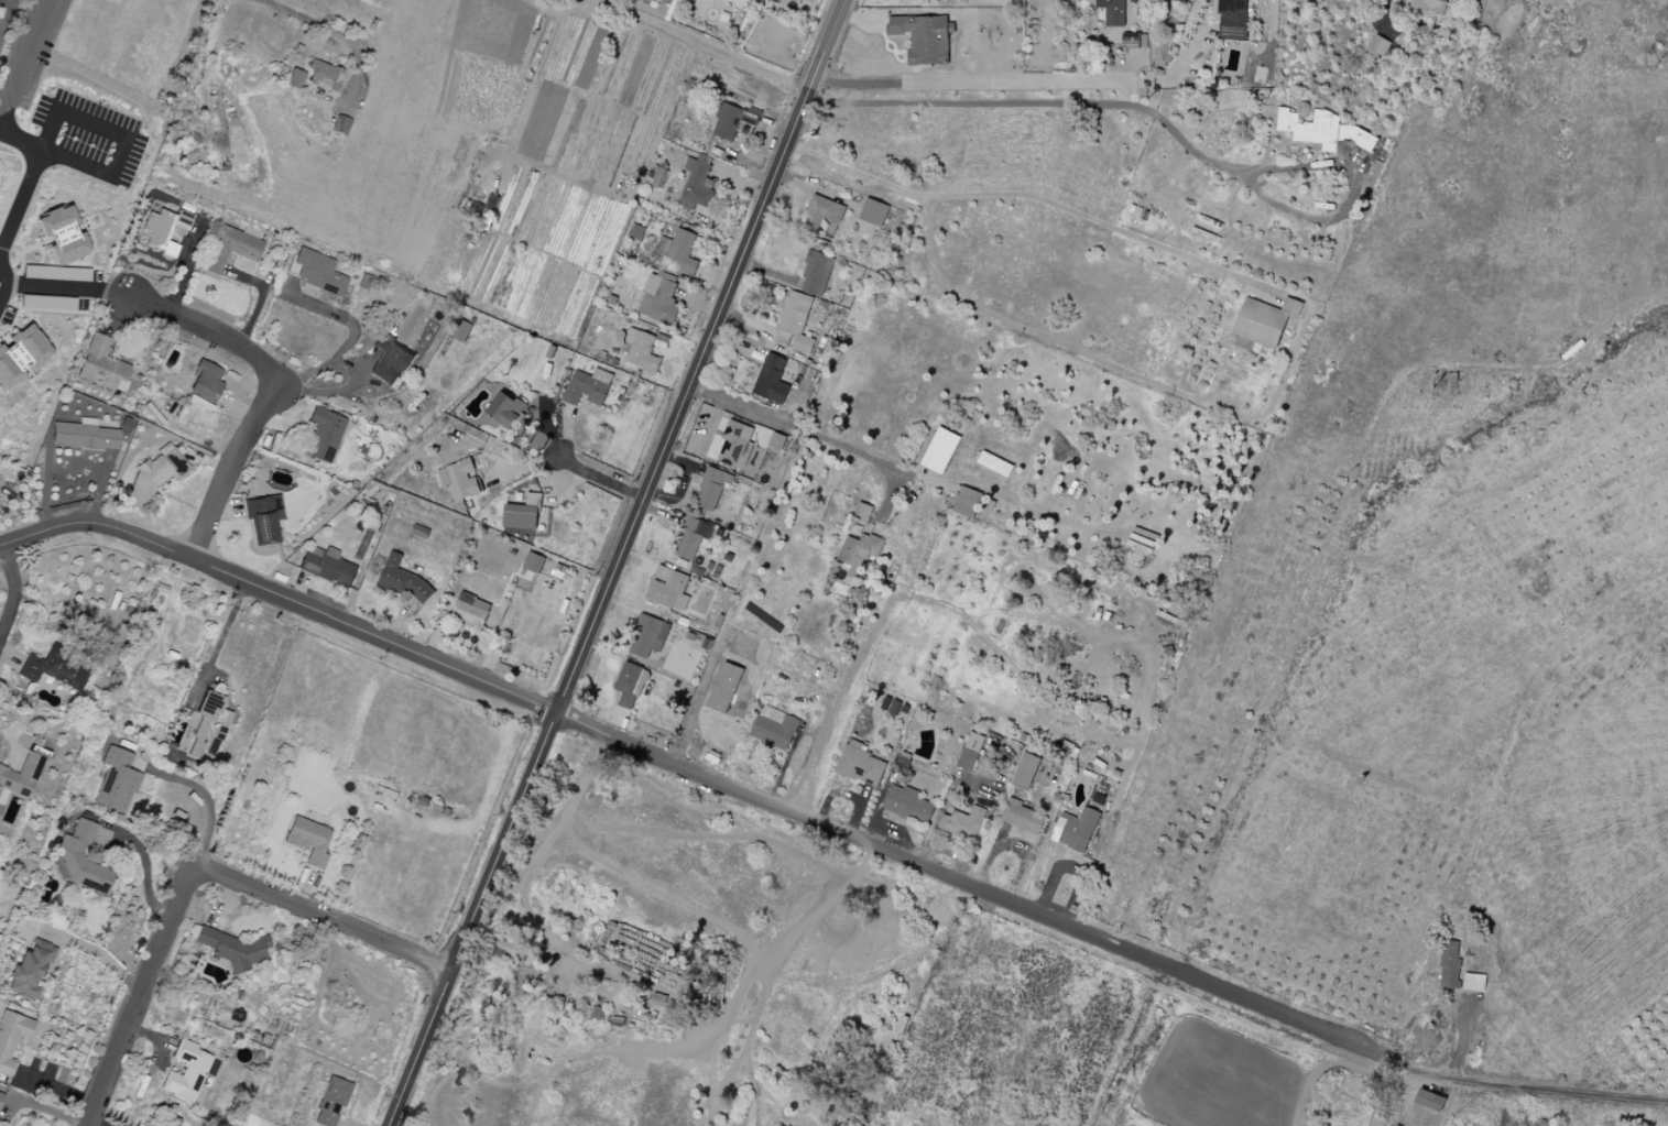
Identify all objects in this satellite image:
building: (922, 0)
building: (1432, 8)
road: (4, 12)
building: (1114, 12)
road: (1386, 12)
building: (1234, 19)
road: (334, 31)
road: (811, 35)
building: (925, 35)
building: (1132, 41)
road: (699, 44)
building: (1380, 46)
road: (25, 57)
road: (1171, 70)
building: (324, 76)
building: (294, 79)
road: (1124, 99)
building: (730, 122)
building: (339, 125)
building: (1316, 129)
road: (124, 142)
road: (1300, 167)
building: (697, 184)
road: (24, 195)
building: (873, 212)
building: (822, 214)
building: (164, 230)
building: (61, 236)
building: (230, 249)
building: (684, 251)
building: (29, 272)
building: (817, 272)
building: (317, 273)
building: (68, 274)
road: (57, 289)
building: (661, 300)
road: (261, 302)
building: (47, 303)
road: (1307, 310)
building: (797, 320)
building: (1264, 326)
road: (209, 332)
road: (346, 346)
building: (642, 351)
building: (21, 356)
building: (389, 361)
building: (101, 367)
building: (772, 380)
building: (205, 382)
building: (585, 389)
building: (505, 409)
road: (795, 429)
building: (323, 435)
building: (84, 436)
building: (776, 441)
building: (737, 446)
building: (940, 450)
building: (995, 464)
road: (574, 466)
road: (228, 472)
building: (153, 477)
building: (461, 480)
building: (711, 488)
building: (968, 503)
building: (863, 513)
building: (521, 517)
building: (263, 518)
building: (689, 537)
building: (861, 553)
building: (533, 562)
road: (615, 562)
building: (328, 567)
building: (403, 580)
building: (668, 588)
road: (13, 592)
building: (471, 611)
road: (221, 635)
building: (647, 638)
building: (52, 670)
building: (631, 685)
road: (687, 711)
building: (775, 728)
building: (207, 729)
road: (609, 747)
building: (971, 752)
building: (862, 766)
building: (1026, 773)
road: (701, 774)
building: (116, 780)
building: (15, 789)
building: (907, 805)
road: (857, 811)
building: (1022, 817)
road: (874, 823)
building: (962, 826)
building: (1078, 830)
road: (903, 832)
road: (706, 838)
building: (308, 841)
building: (79, 860)
road: (533, 861)
road: (143, 865)
road: (664, 896)
road: (321, 918)
building: (232, 950)
building: (511, 952)
building: (1449, 964)
building: (30, 970)
road: (762, 970)
building: (1473, 982)
road: (134, 996)
road: (760, 1009)
road: (143, 1037)
building: (11, 1038)
road: (1411, 1068)
building: (187, 1073)
road: (721, 1090)
road: (1545, 1090)
road: (757, 1092)
building: (0, 1095)
building: (331, 1103)
road: (97, 1122)

